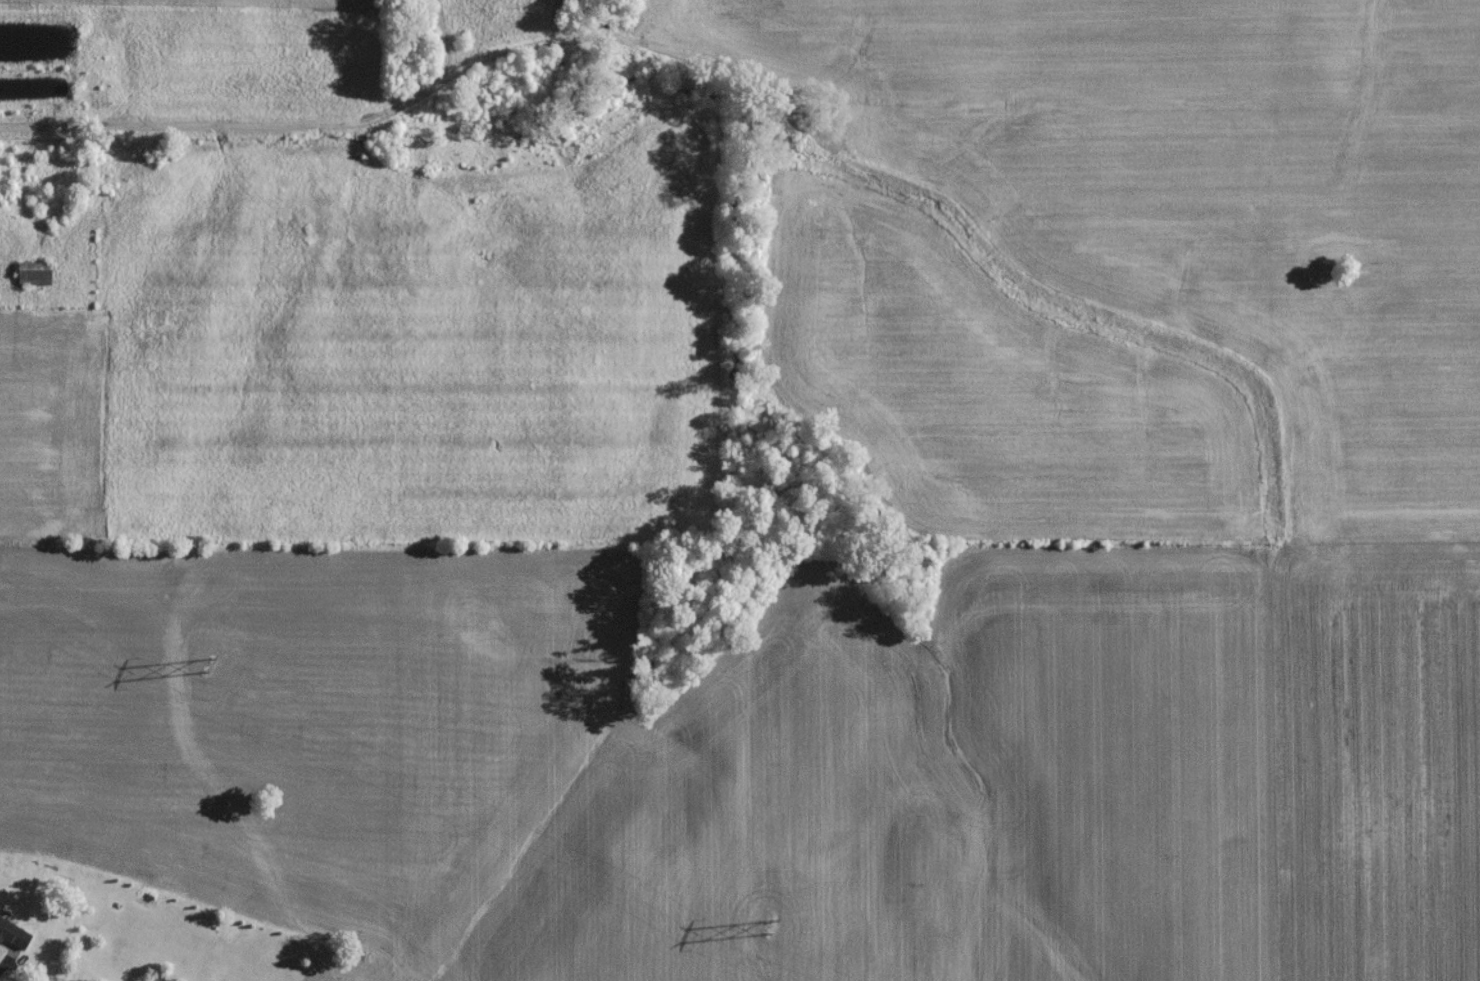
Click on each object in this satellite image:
building: (34, 278)
power tower: (206, 671)
power tower: (765, 930)
building: (14, 940)

